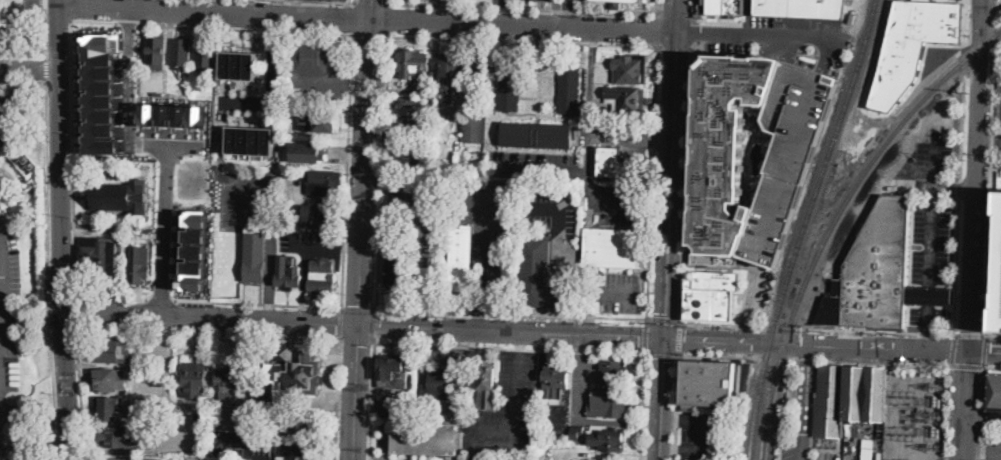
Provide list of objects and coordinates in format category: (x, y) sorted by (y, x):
building: (546, 0)
road: (333, 1)
road: (355, 1)
road: (388, 1)
road: (371, 2)
road: (569, 2)
building: (616, 3)
road: (144, 5)
road: (660, 7)
building: (721, 7)
road: (693, 8)
building: (801, 8)
road: (523, 9)
road: (71, 10)
road: (508, 12)
road: (676, 15)
road: (568, 16)
road: (676, 16)
road: (354, 17)
road: (388, 19)
road: (367, 20)
parking lot: (794, 25)
road: (45, 27)
road: (211, 27)
road: (659, 29)
road: (692, 32)
road: (370, 34)
road: (762, 36)
road: (523, 40)
parking lot: (727, 43)
building: (912, 46)
road: (674, 47)
road: (23, 53)
building: (181, 53)
building: (157, 54)
building: (206, 54)
road: (826, 54)
building: (313, 57)
building: (239, 66)
building: (415, 66)
road: (46, 67)
building: (630, 68)
road: (29, 70)
building: (476, 73)
road: (131, 76)
building: (448, 76)
road: (22, 79)
road: (591, 81)
building: (509, 87)
building: (569, 90)
building: (100, 92)
building: (158, 93)
building: (626, 99)
building: (411, 103)
building: (431, 112)
building: (173, 116)
building: (13, 118)
building: (322, 121)
building: (409, 126)
parking lot: (999, 127)
building: (473, 128)
building: (440, 133)
road: (612, 133)
building: (537, 135)
road: (988, 140)
building: (251, 141)
road: (168, 144)
building: (433, 144)
building: (726, 151)
building: (308, 153)
road: (671, 153)
road: (59, 155)
road: (72, 156)
building: (791, 156)
parking lot: (791, 156)
building: (451, 158)
road: (365, 160)
building: (410, 160)
building: (433, 160)
building: (612, 163)
building: (6, 164)
building: (26, 165)
road: (961, 167)
road: (991, 169)
road: (346, 170)
road: (544, 171)
road: (382, 172)
road: (976, 175)
road: (653, 181)
building: (31, 182)
building: (325, 182)
building: (458, 184)
road: (684, 184)
building: (433, 186)
building: (409, 192)
building: (122, 197)
parking lot: (612, 197)
road: (597, 200)
road: (558, 205)
road: (241, 206)
building: (440, 206)
parking lot: (489, 207)
parking lot: (549, 212)
building: (320, 217)
railway: (837, 220)
building: (147, 221)
railway: (804, 227)
road: (162, 228)
parking lot: (931, 229)
road: (321, 244)
road: (352, 245)
road: (931, 245)
building: (612, 248)
building: (195, 249)
building: (255, 255)
building: (97, 257)
building: (462, 258)
road: (477, 263)
building: (140, 265)
road: (269, 267)
road: (984, 267)
road: (49, 269)
building: (399, 269)
building: (501, 269)
building: (431, 272)
building: (997, 272)
parking garage: (997, 272)
building: (288, 274)
building: (536, 274)
building: (879, 274)
building: (323, 277)
road: (569, 285)
parking lot: (621, 293)
road: (595, 295)
building: (711, 297)
road: (207, 300)
road: (748, 301)
parking lot: (9, 303)
road: (664, 306)
road: (358, 307)
road: (74, 309)
road: (512, 312)
road: (209, 315)
road: (664, 320)
road: (339, 322)
road: (1, 323)
road: (375, 324)
road: (510, 329)
road: (817, 329)
road: (207, 332)
road: (646, 335)
road: (969, 335)
road: (993, 337)
road: (357, 339)
traffic signals: (663, 339)
road: (678, 339)
road: (521, 340)
road: (581, 343)
road: (816, 345)
road: (510, 347)
road: (952, 349)
building: (110, 350)
road: (805, 351)
road: (984, 351)
road: (985, 351)
building: (283, 352)
road: (661, 355)
road: (738, 359)
road: (804, 362)
road: (880, 363)
road: (967, 365)
road: (992, 367)
building: (393, 371)
building: (615, 371)
building: (105, 379)
building: (295, 379)
building: (194, 380)
building: (556, 383)
building: (708, 383)
building: (229, 384)
building: (443, 384)
parking lot: (583, 384)
road: (66, 385)
building: (487, 385)
road: (354, 390)
road: (81, 392)
building: (995, 392)
road: (336, 398)
building: (850, 398)
road: (659, 399)
building: (264, 400)
road: (371, 400)
parking lot: (509, 403)
building: (608, 404)
building: (393, 405)
road: (967, 405)
building: (450, 407)
road: (642, 407)
building: (108, 408)
road: (676, 408)
road: (803, 408)
road: (516, 410)
road: (812, 410)
road: (33, 411)
road: (949, 412)
road: (982, 413)
power substation: (915, 414)
road: (669, 421)
building: (304, 424)
building: (850, 430)
building: (577, 432)
parking lot: (700, 436)
parking lot: (789, 436)
building: (127, 437)
building: (545, 437)
road: (707, 437)
building: (427, 438)
building: (610, 440)
building: (198, 442)
parking lot: (994, 447)
power tower: (937, 448)
building: (293, 449)
road: (668, 449)
road: (828, 450)
road: (983, 453)
parking lot: (829, 456)
road: (78, 459)
parking lot: (382, 459)
parking lot: (585, 459)
road: (806, 459)

